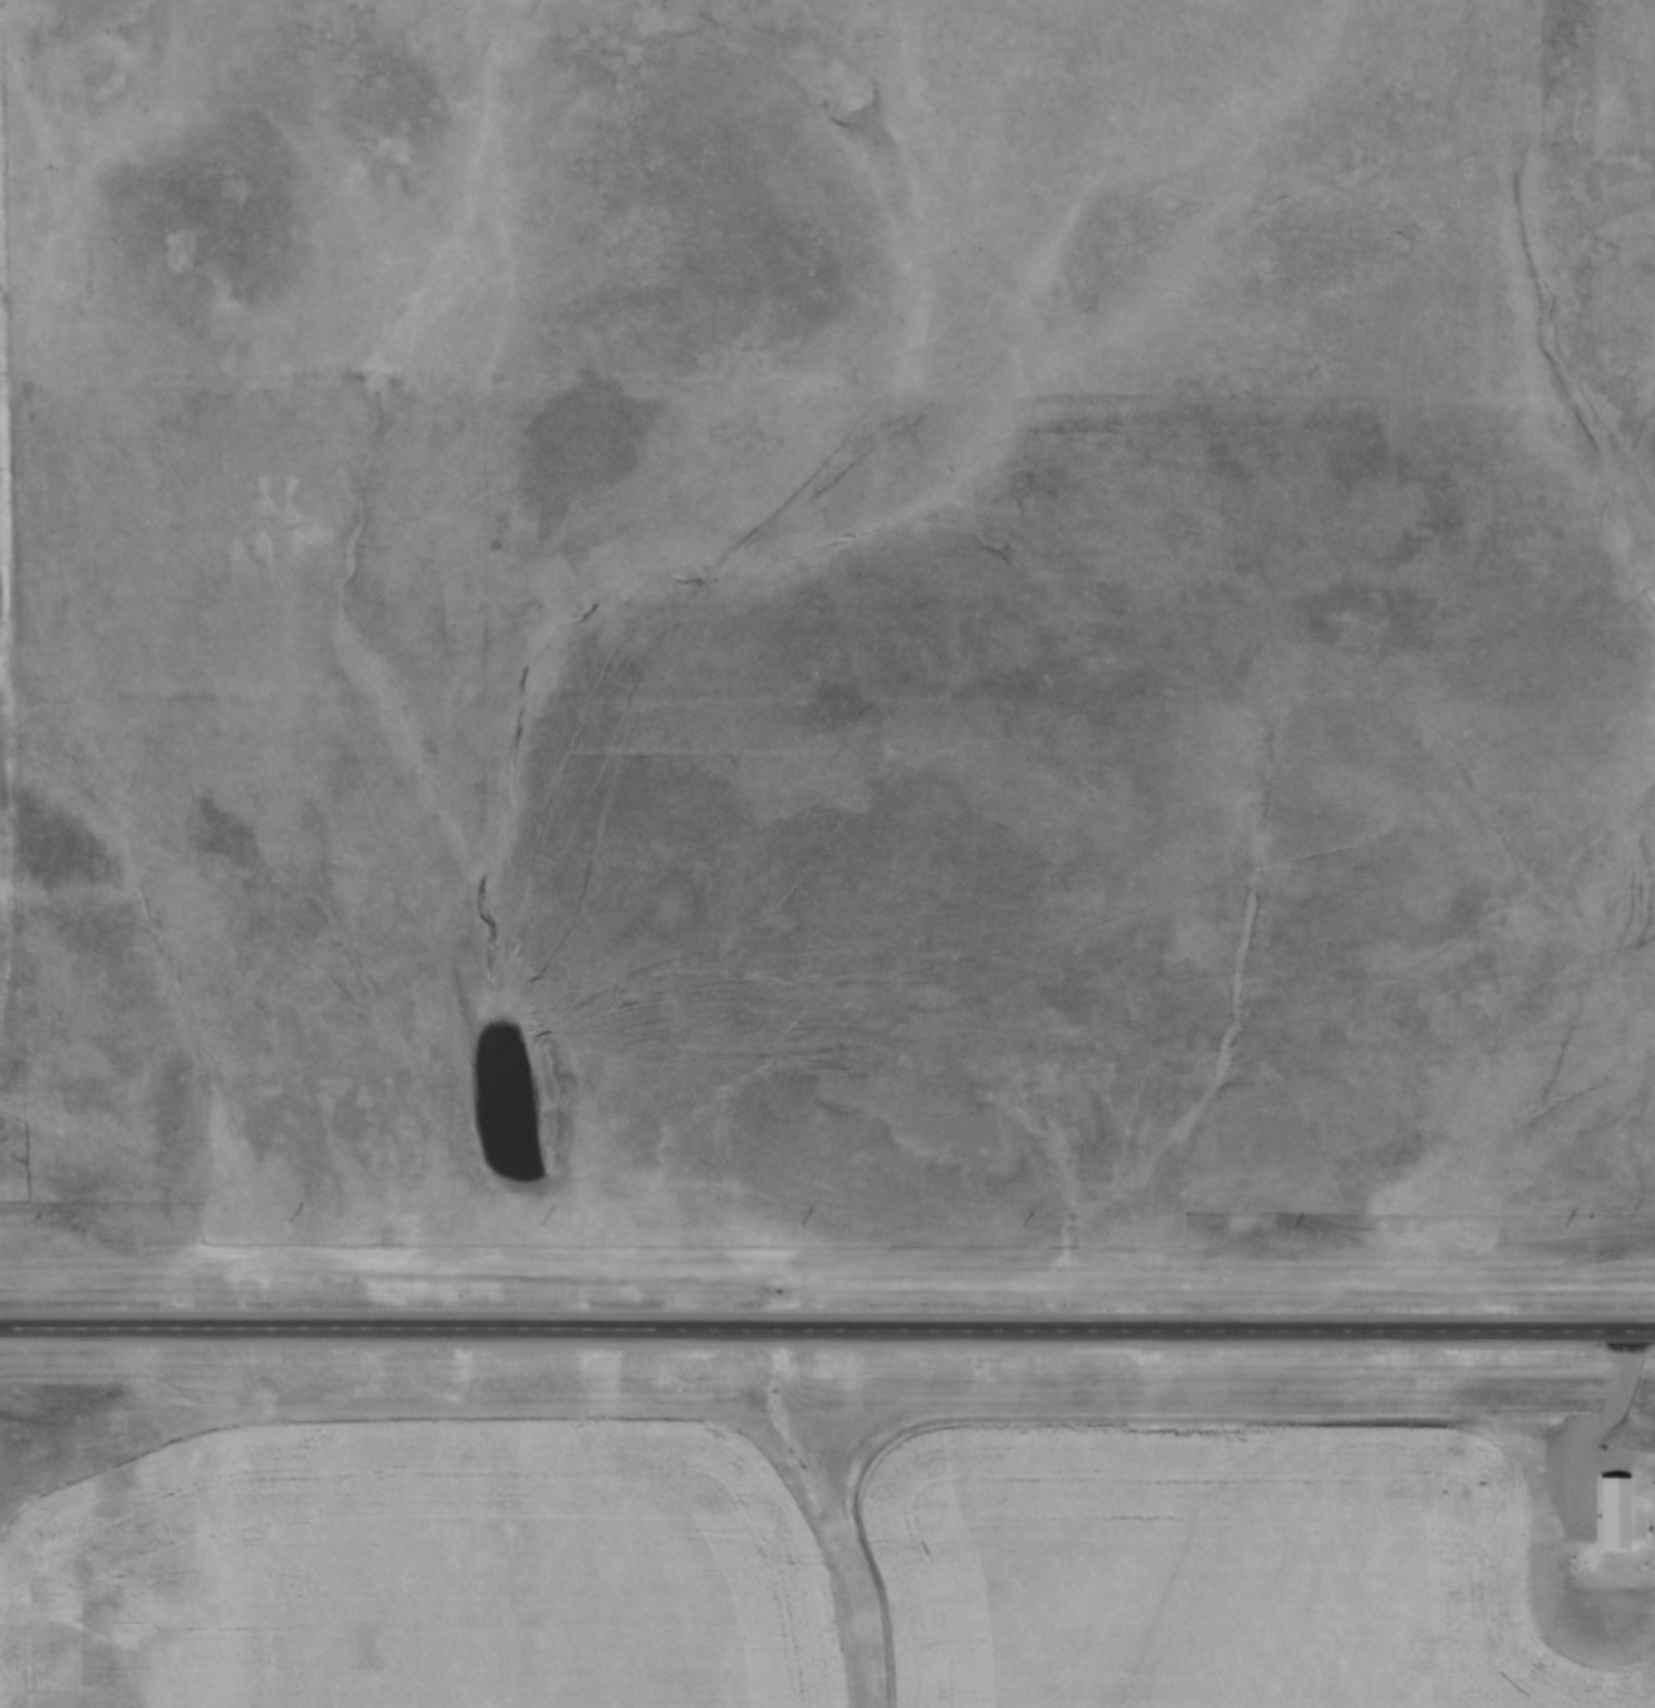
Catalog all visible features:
road: (2, 477)
road: (827, 1331)
building: (1594, 1528)

